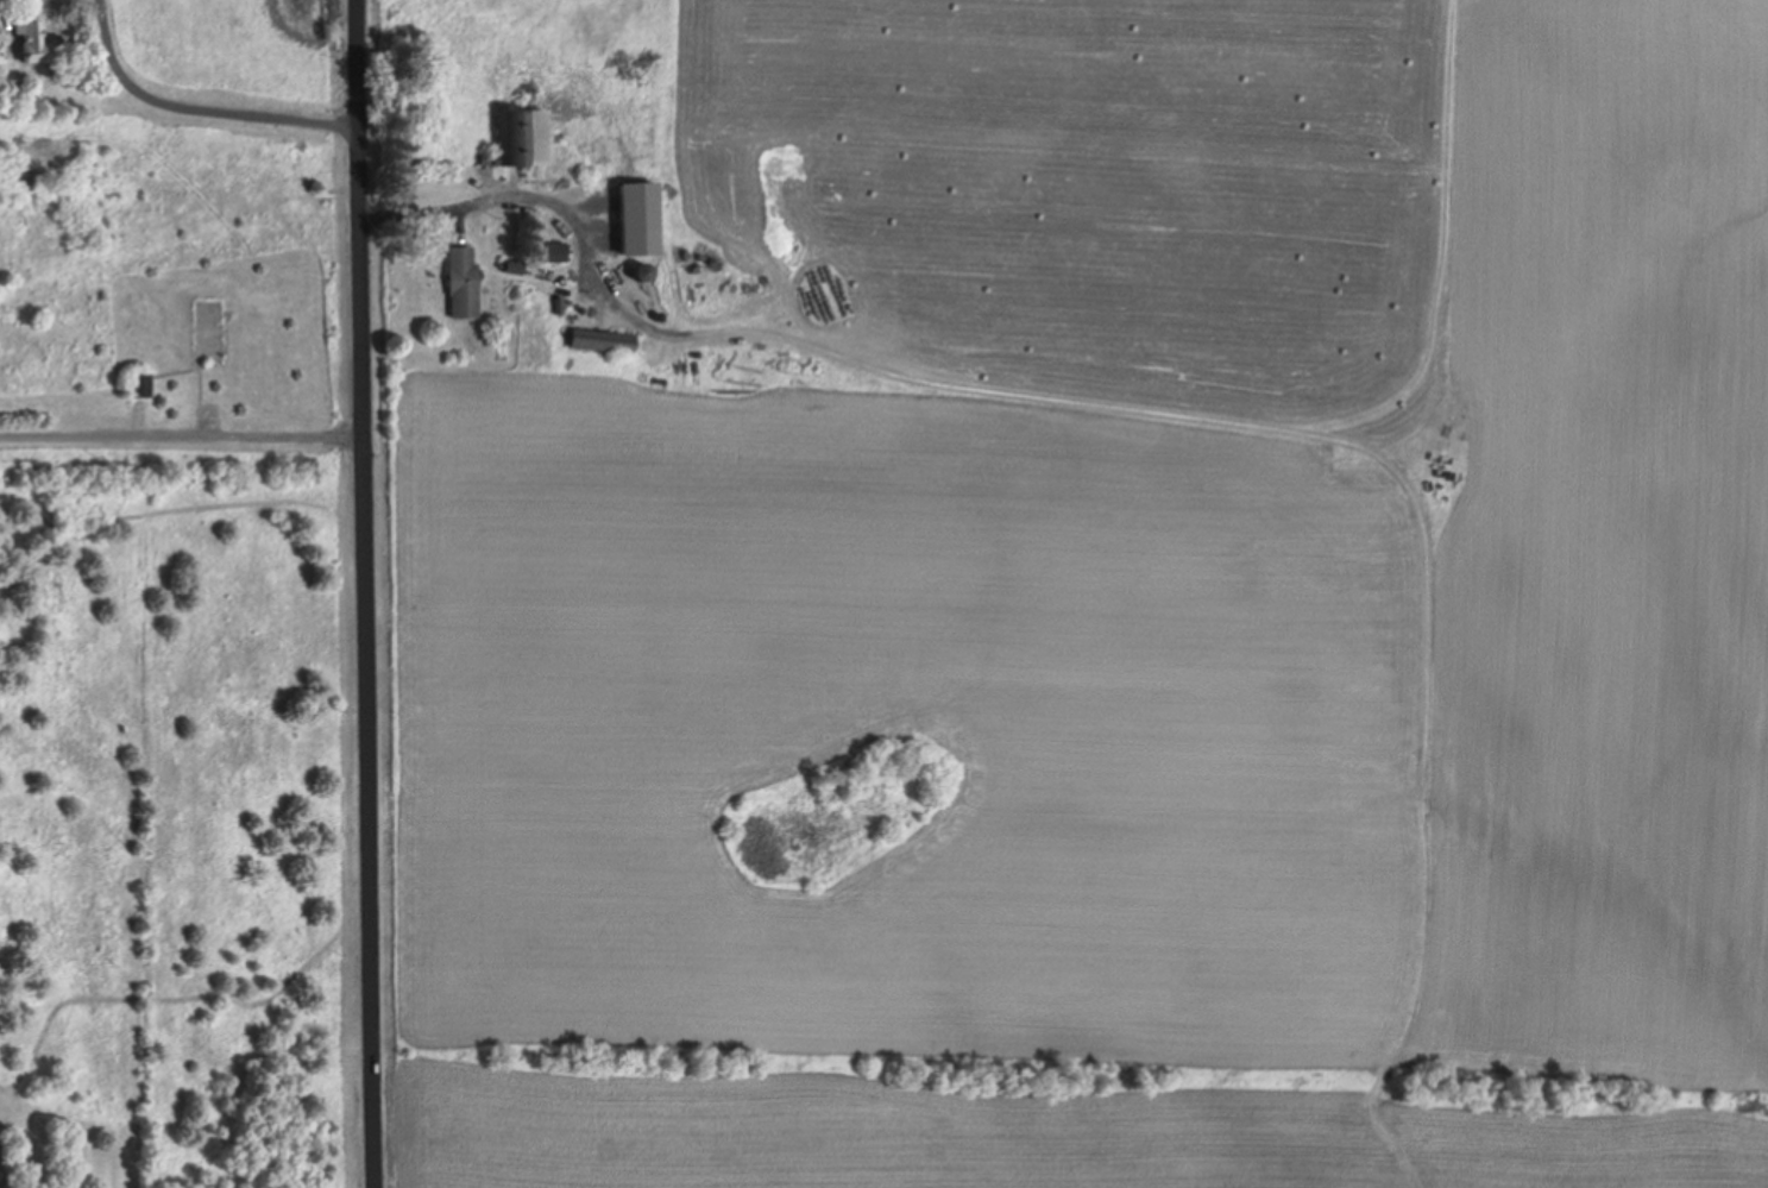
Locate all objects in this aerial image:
building: (0, 42)
building: (32, 45)
building: (516, 143)
building: (554, 254)
building: (642, 275)
building: (463, 284)
building: (208, 331)
building: (602, 342)
building: (139, 388)
road: (370, 593)

